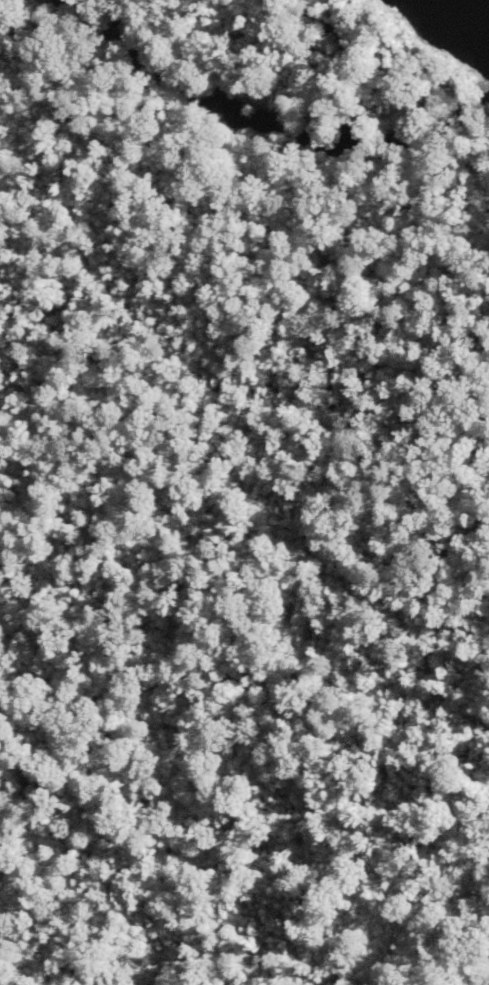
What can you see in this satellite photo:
road: (8, 160)

